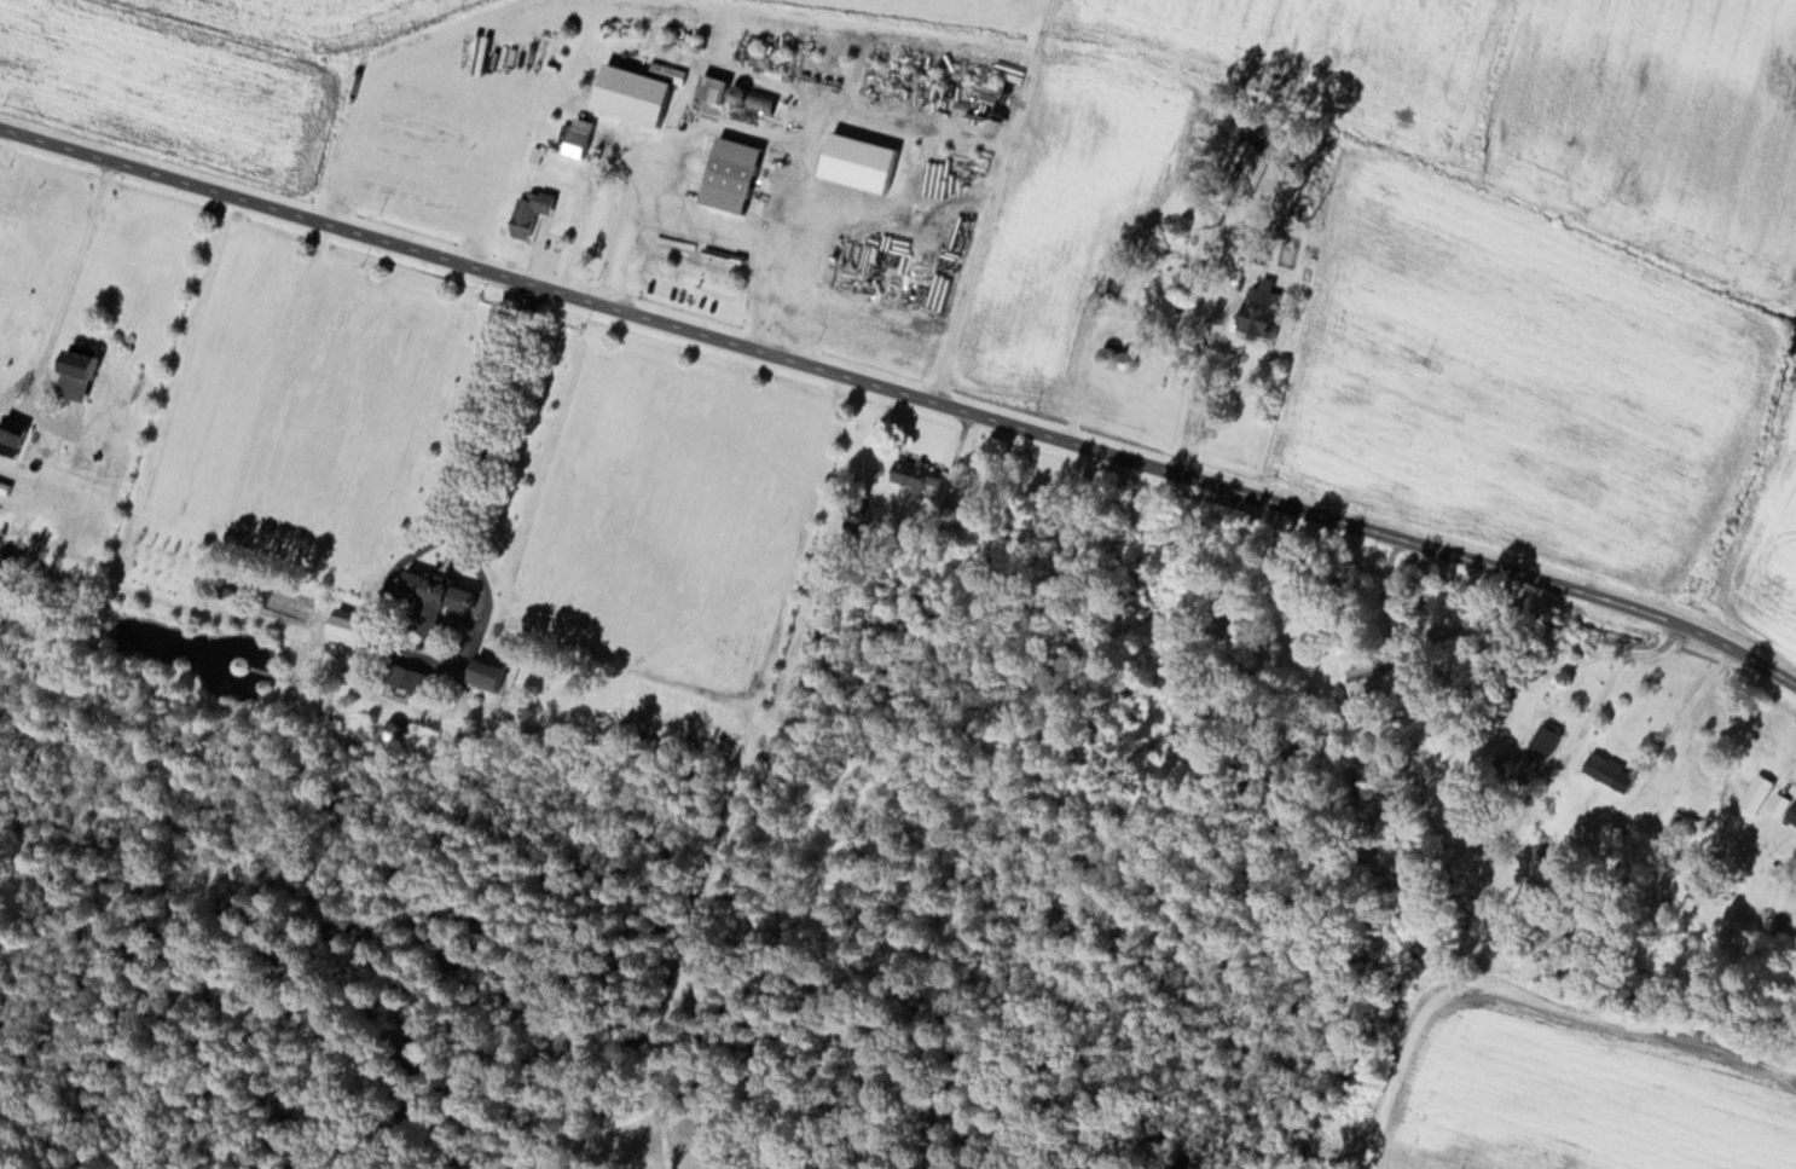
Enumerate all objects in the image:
building: (720, 89)
building: (636, 103)
building: (589, 138)
building: (741, 175)
building: (532, 215)
building: (1255, 311)
building: (1111, 355)
building: (94, 363)
road: (903, 390)
building: (21, 426)
building: (13, 445)
building: (910, 475)
building: (444, 594)
building: (1356, 677)
building: (1543, 737)
building: (1605, 770)

